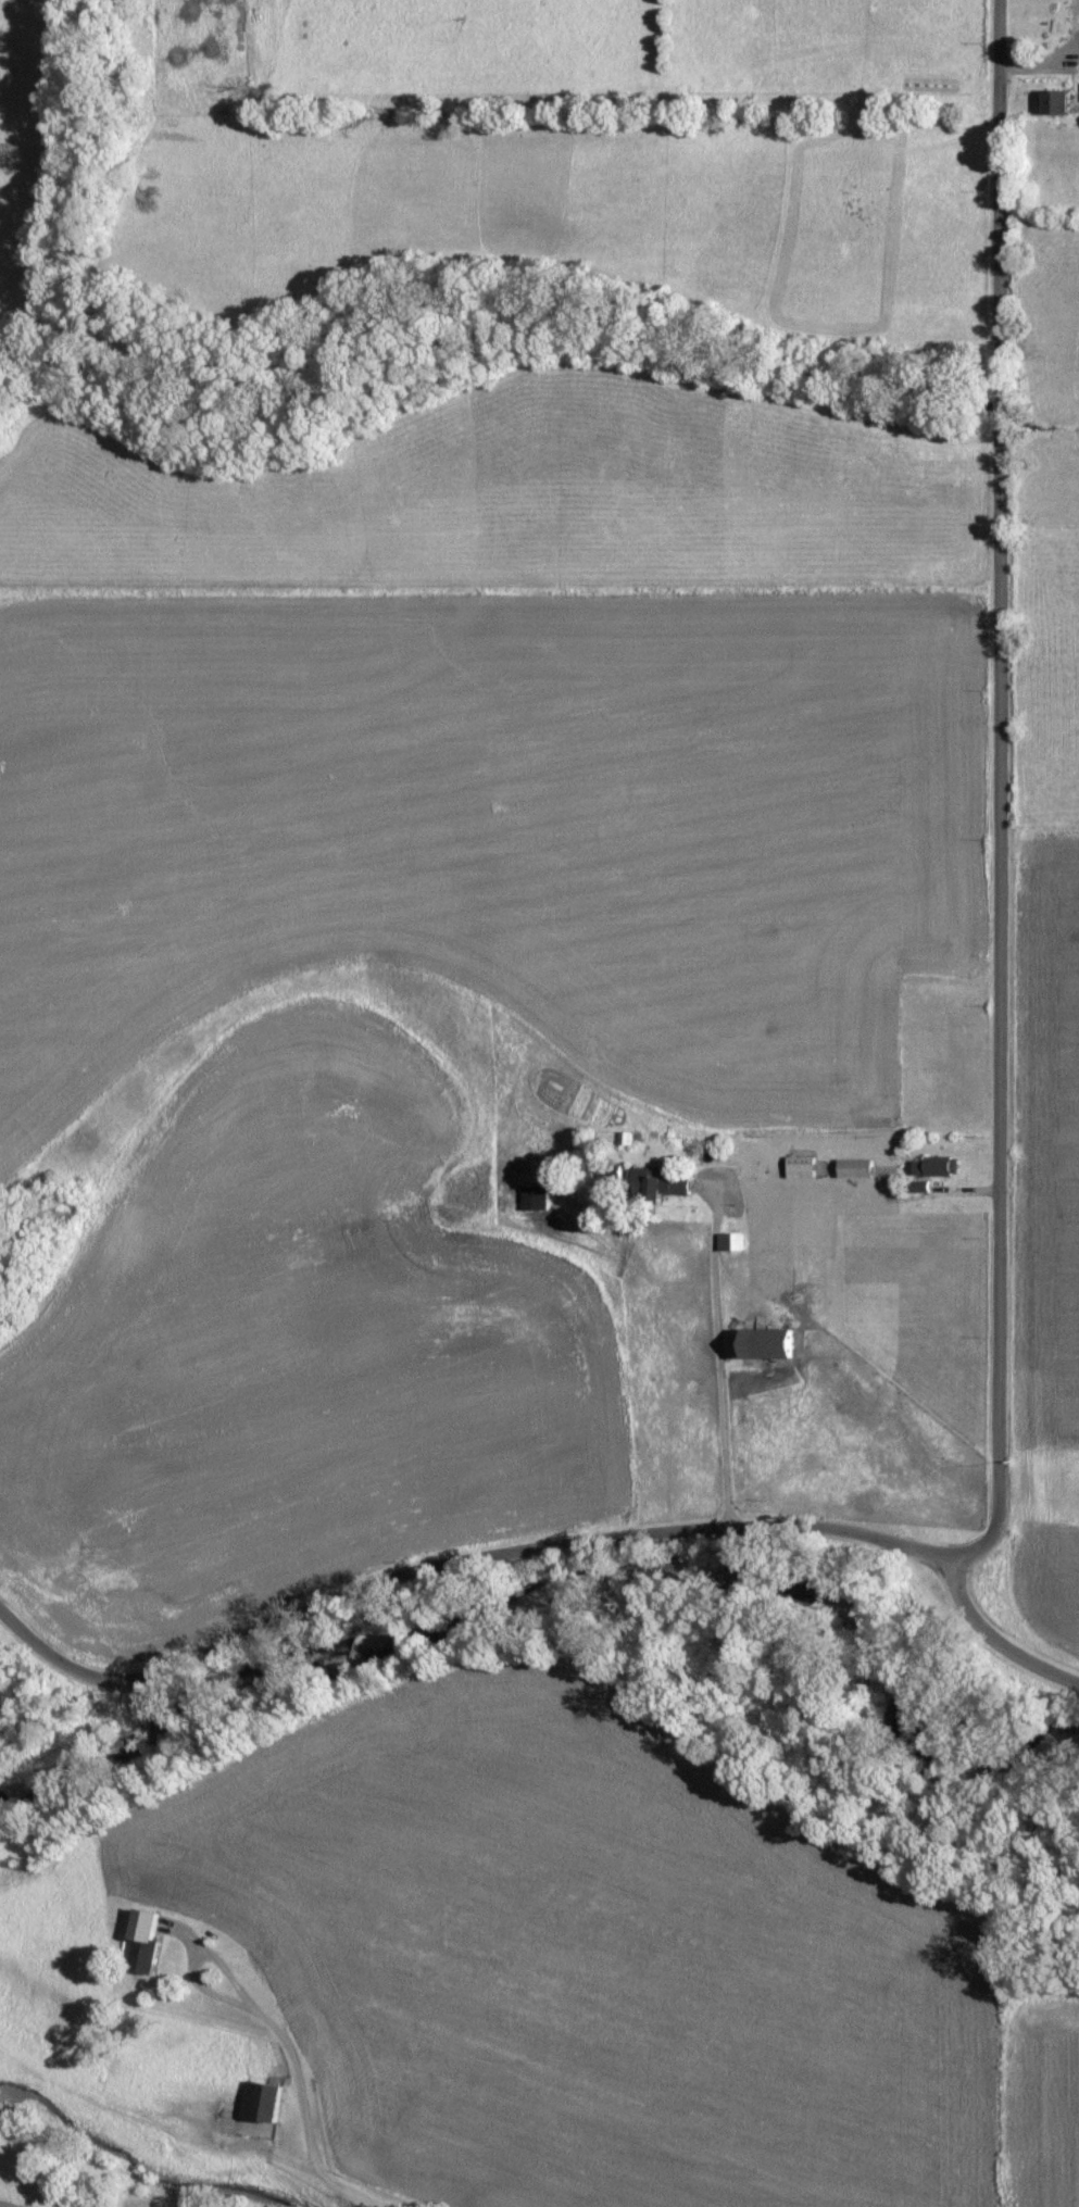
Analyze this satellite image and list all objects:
building: (1057, 103)
road: (1021, 785)
building: (801, 1167)
building: (937, 1167)
building: (855, 1169)
building: (666, 1187)
building: (532, 1199)
building: (730, 1242)
building: (768, 1344)
road: (718, 1372)
road: (488, 1530)
road: (1044, 1609)
building: (146, 1927)
road: (248, 2003)
building: (251, 2114)
road: (335, 2182)

